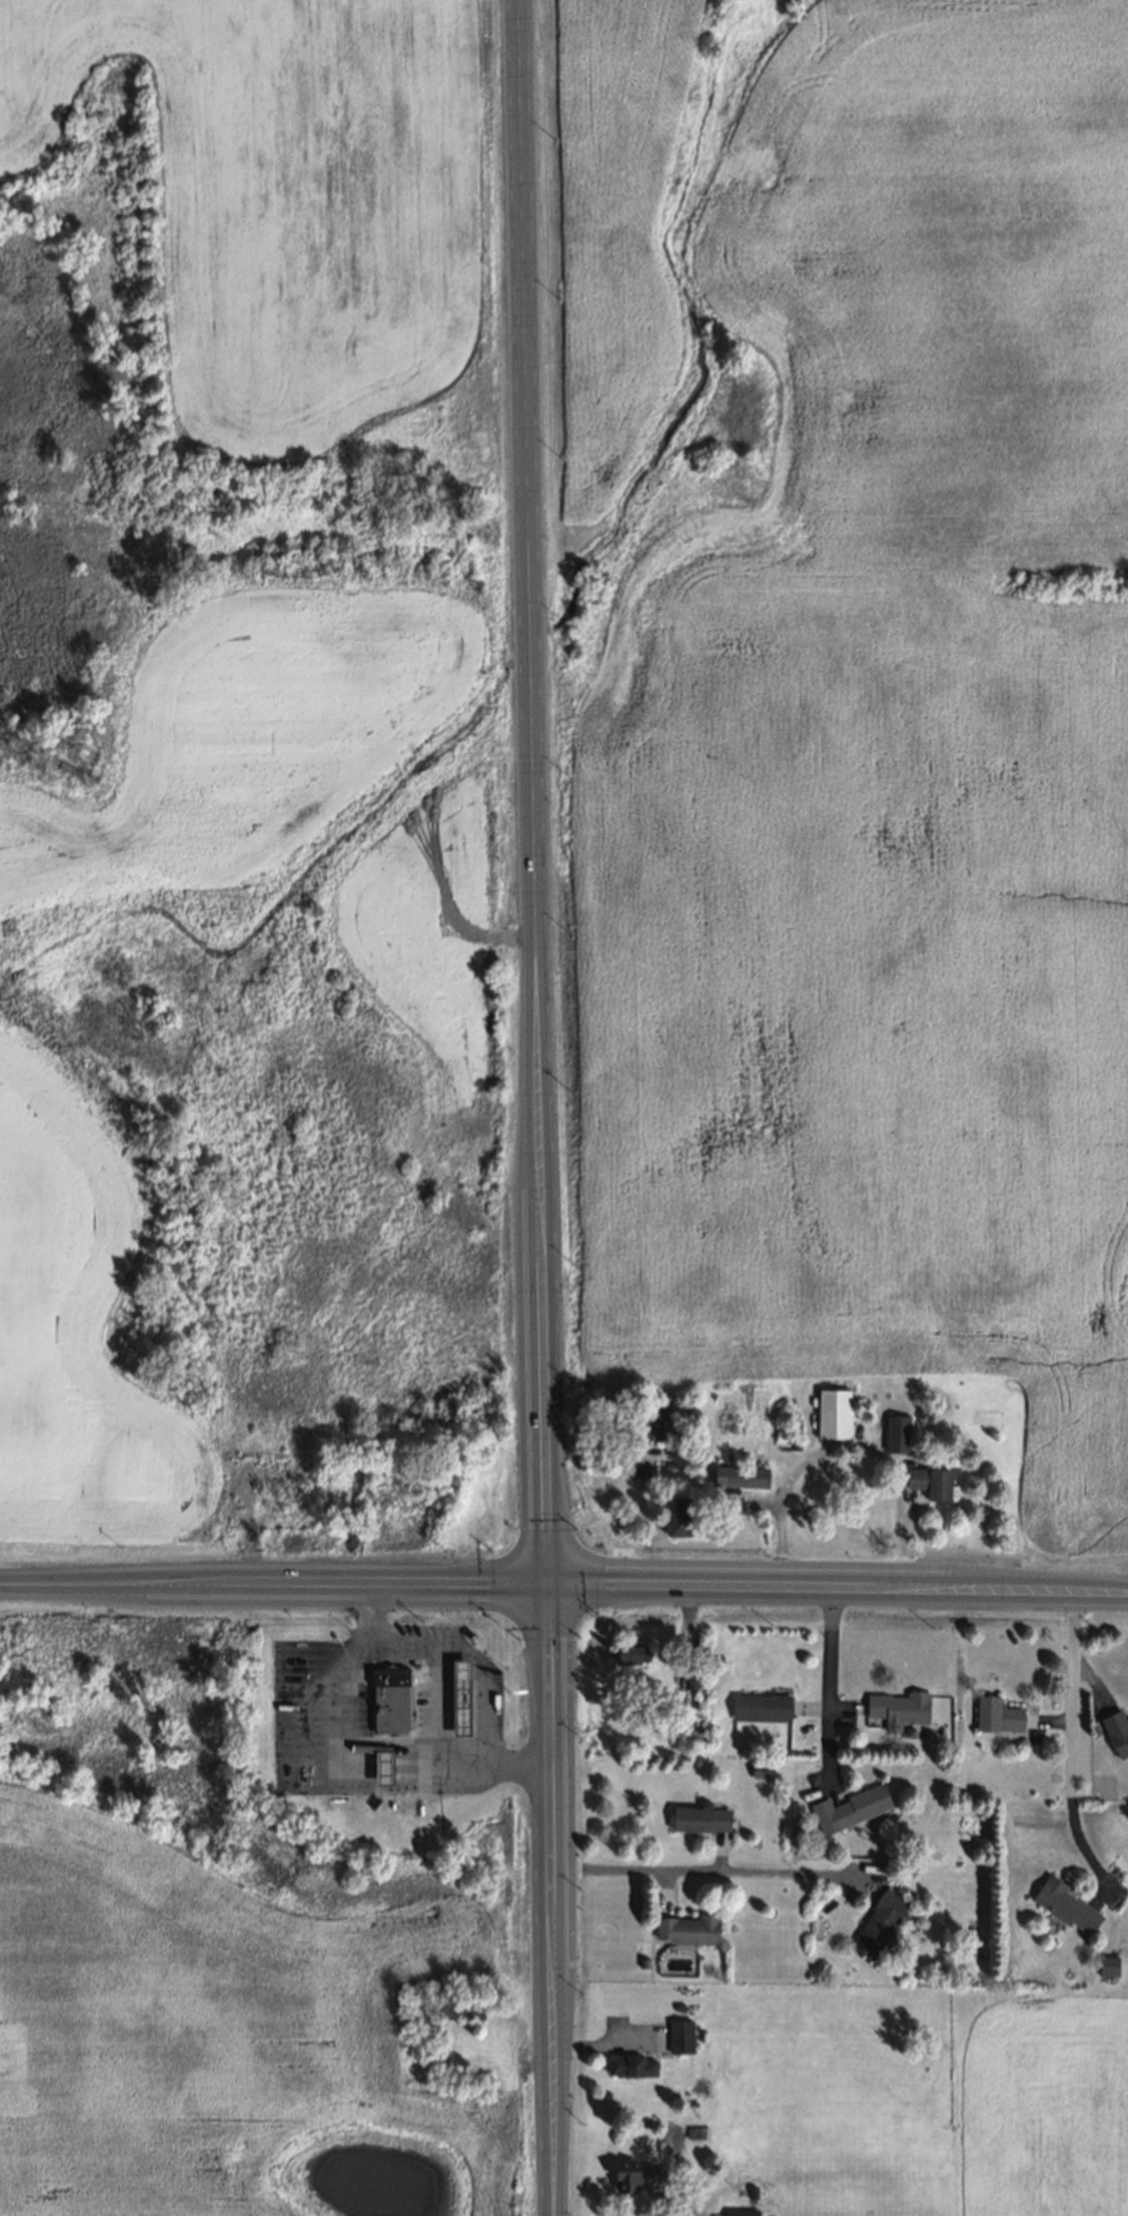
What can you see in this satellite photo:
road: (539, 1107)
building: (829, 1413)
building: (657, 1417)
building: (894, 1432)
road: (844, 1444)
building: (738, 1474)
building: (929, 1479)
building: (676, 1516)
road: (536, 1582)
road: (1100, 1592)
building: (627, 1654)
road: (475, 1661)
building: (688, 1675)
road: (828, 1681)
gas station: (386, 1698)
road: (435, 1699)
building: (391, 1701)
building: (457, 1706)
gas station: (457, 1706)
building: (760, 1706)
building: (897, 1707)
building: (995, 1714)
building: (1116, 1730)
road: (347, 1745)
road: (1069, 1747)
building: (758, 1766)
building: (383, 1767)
building: (762, 1772)
road: (379, 1789)
building: (859, 1803)
building: (699, 1817)
building: (791, 1824)
road: (705, 1869)
building: (1063, 1903)
building: (878, 1923)
building: (687, 1927)
building: (643, 1960)
building: (1106, 1964)
building: (679, 2005)
building: (459, 2006)
building: (680, 2034)
building: (628, 2064)
building: (694, 2130)
building: (632, 2174)
building: (751, 2188)
building: (740, 2212)

